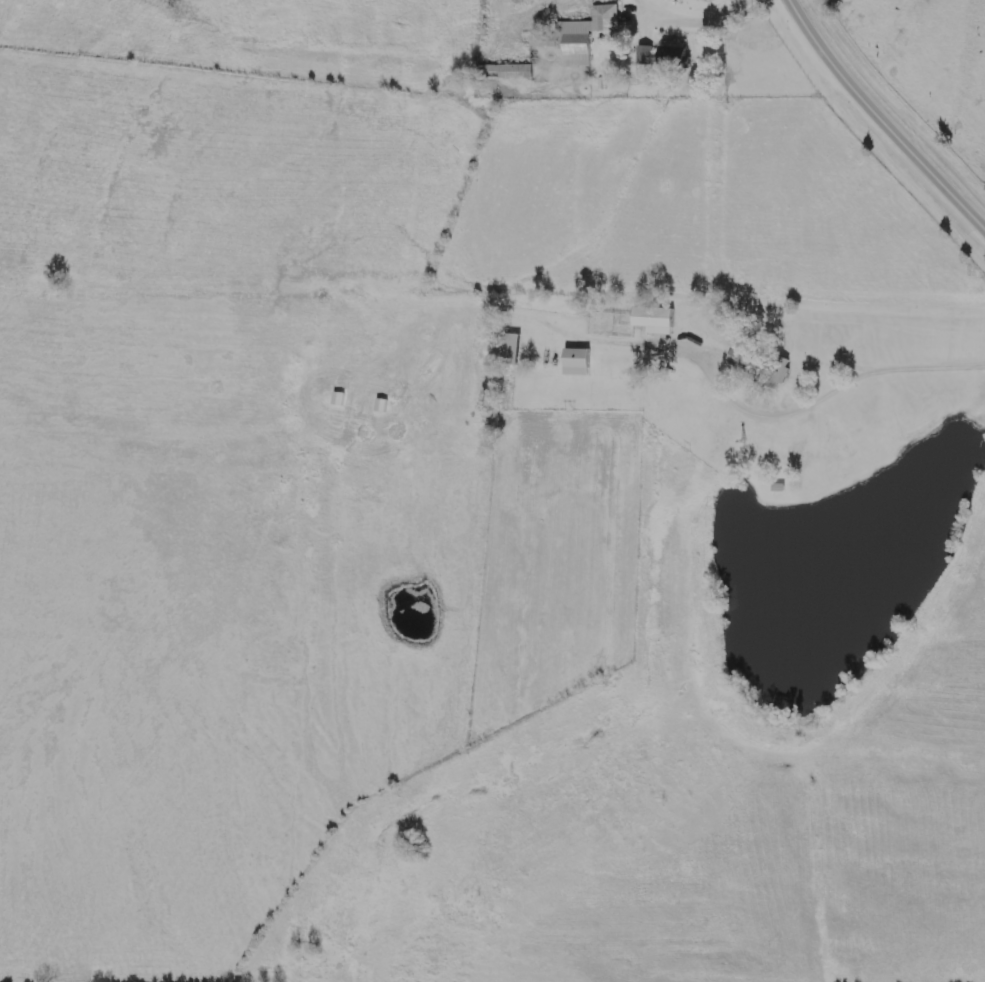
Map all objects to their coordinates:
road: (681, 18)
building: (605, 19)
building: (577, 47)
building: (514, 71)
road: (881, 116)
building: (654, 319)
building: (511, 350)
building: (742, 358)
building: (578, 362)
building: (778, 369)
road: (840, 378)
building: (656, 407)

